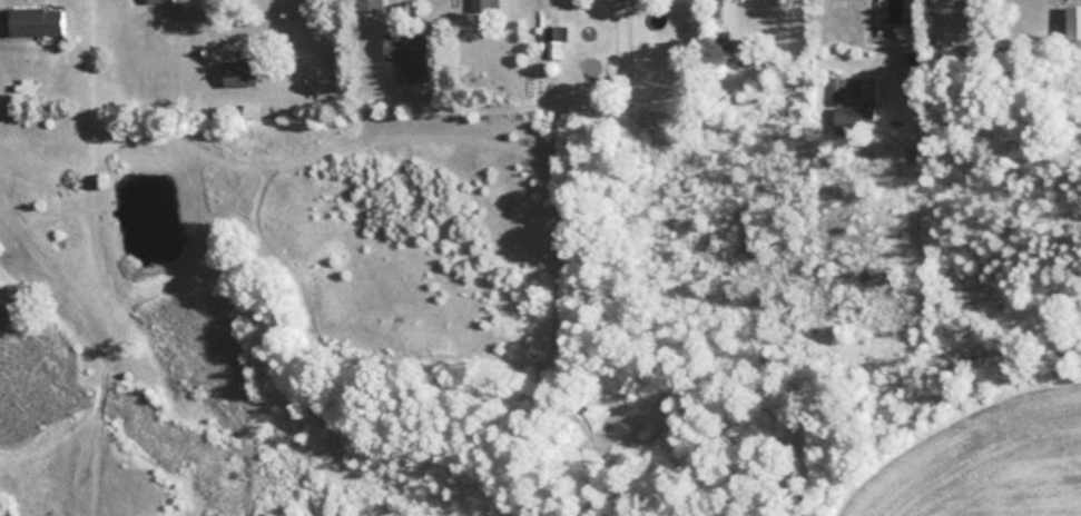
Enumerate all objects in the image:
building: (159, 1)
building: (372, 6)
building: (485, 6)
building: (39, 21)
building: (412, 52)
building: (242, 72)
building: (867, 92)
building: (856, 120)

